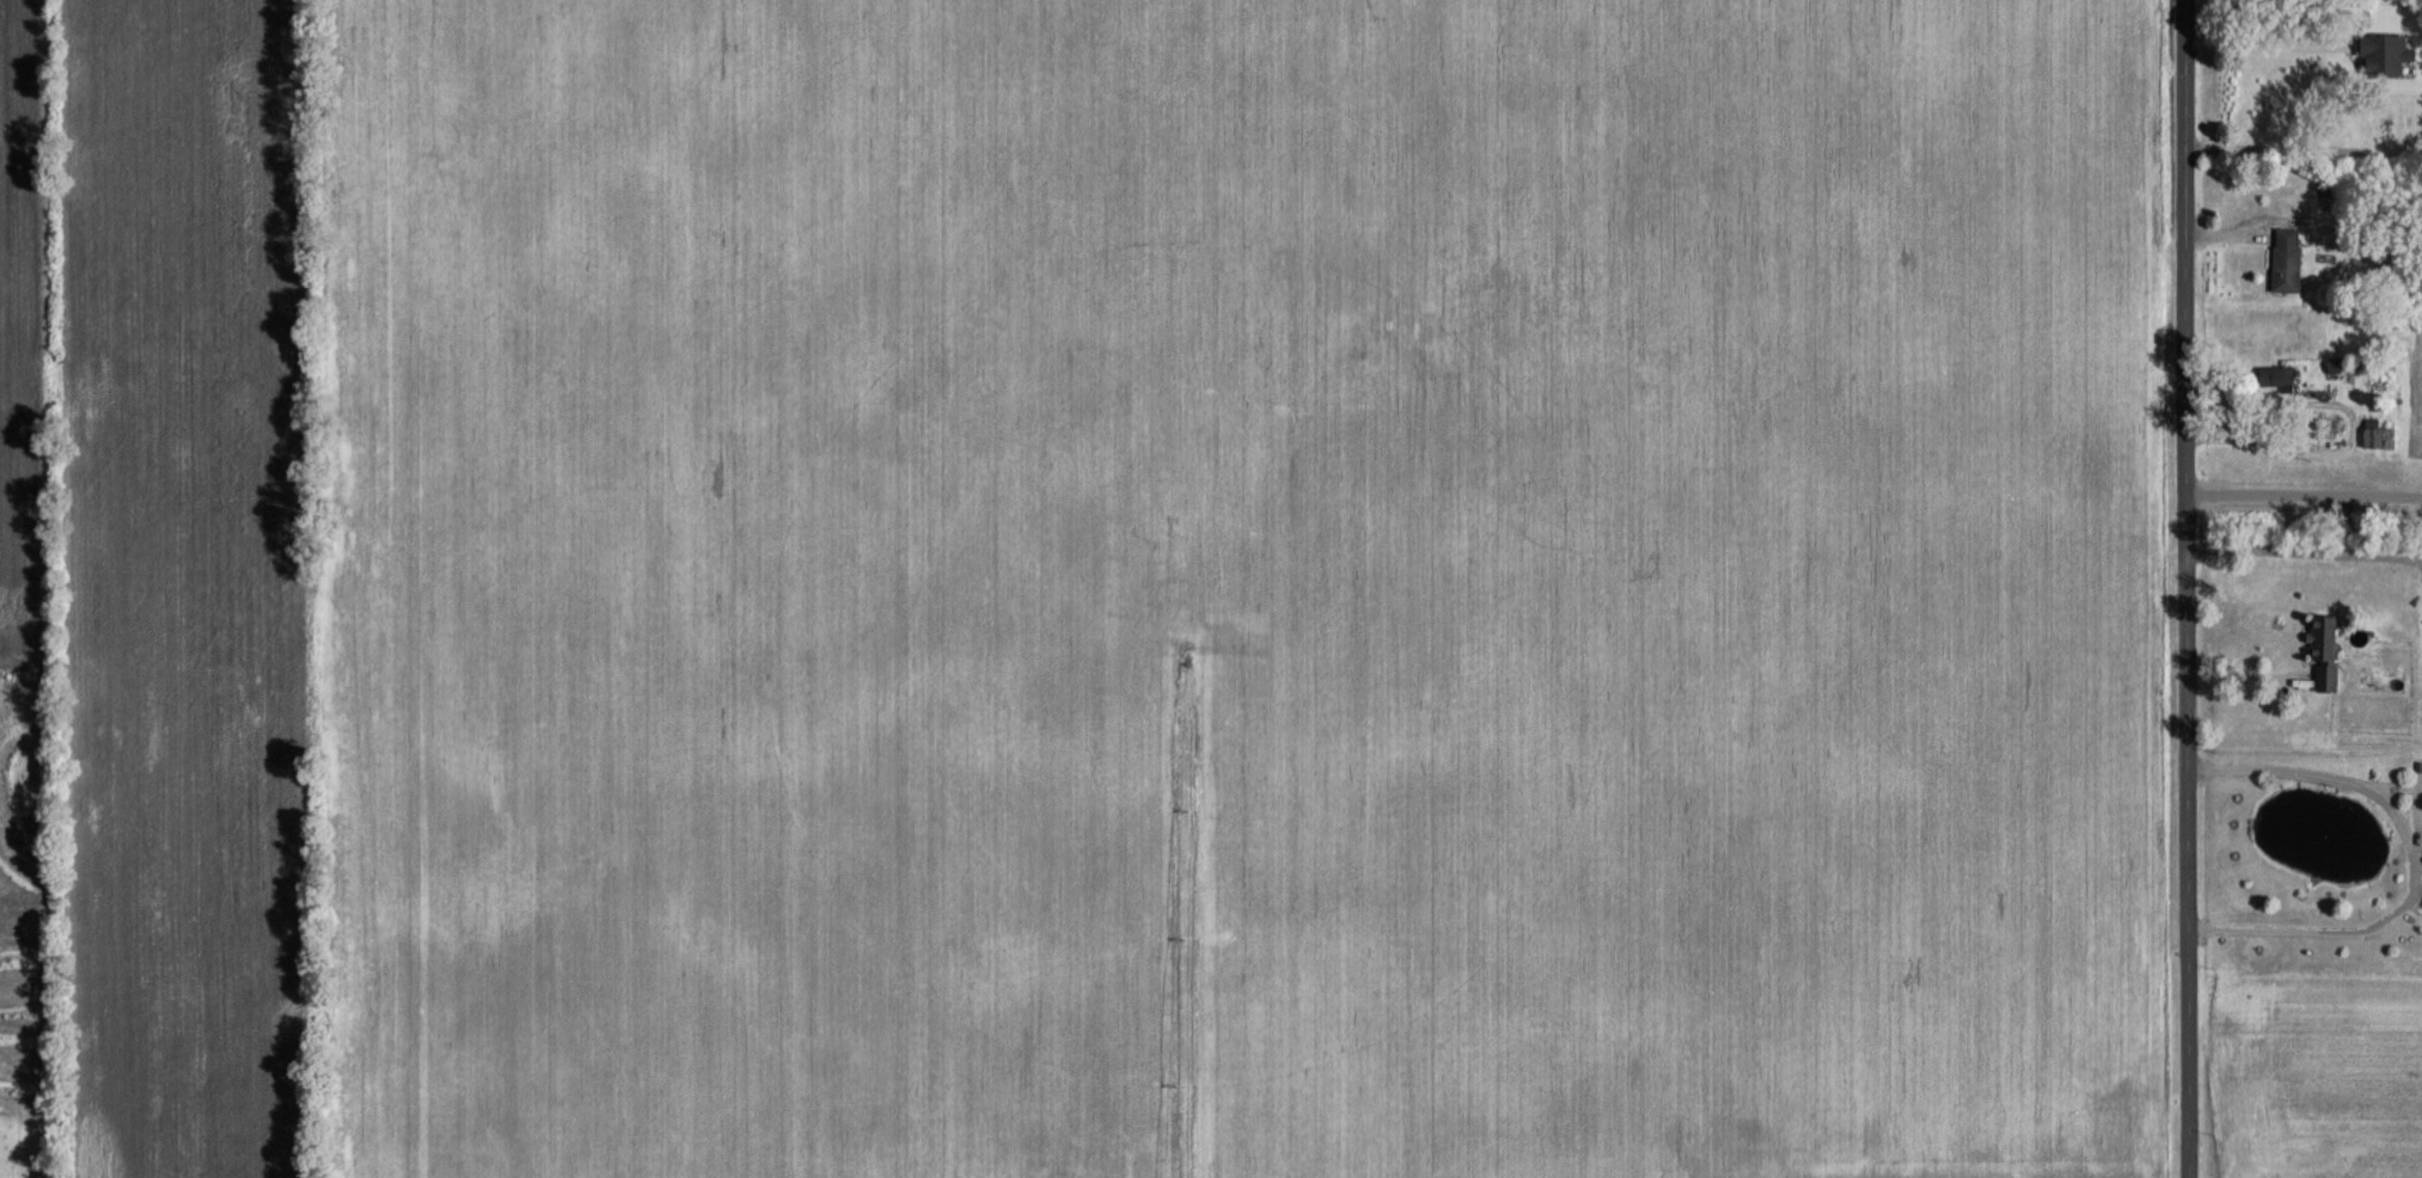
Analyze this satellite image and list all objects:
road: (2268, 41)
building: (2380, 122)
building: (2287, 259)
building: (2389, 264)
building: (2276, 376)
building: (2378, 434)
road: (2305, 495)
road: (2188, 589)
building: (2325, 650)
road: (2250, 679)
road: (2415, 858)

